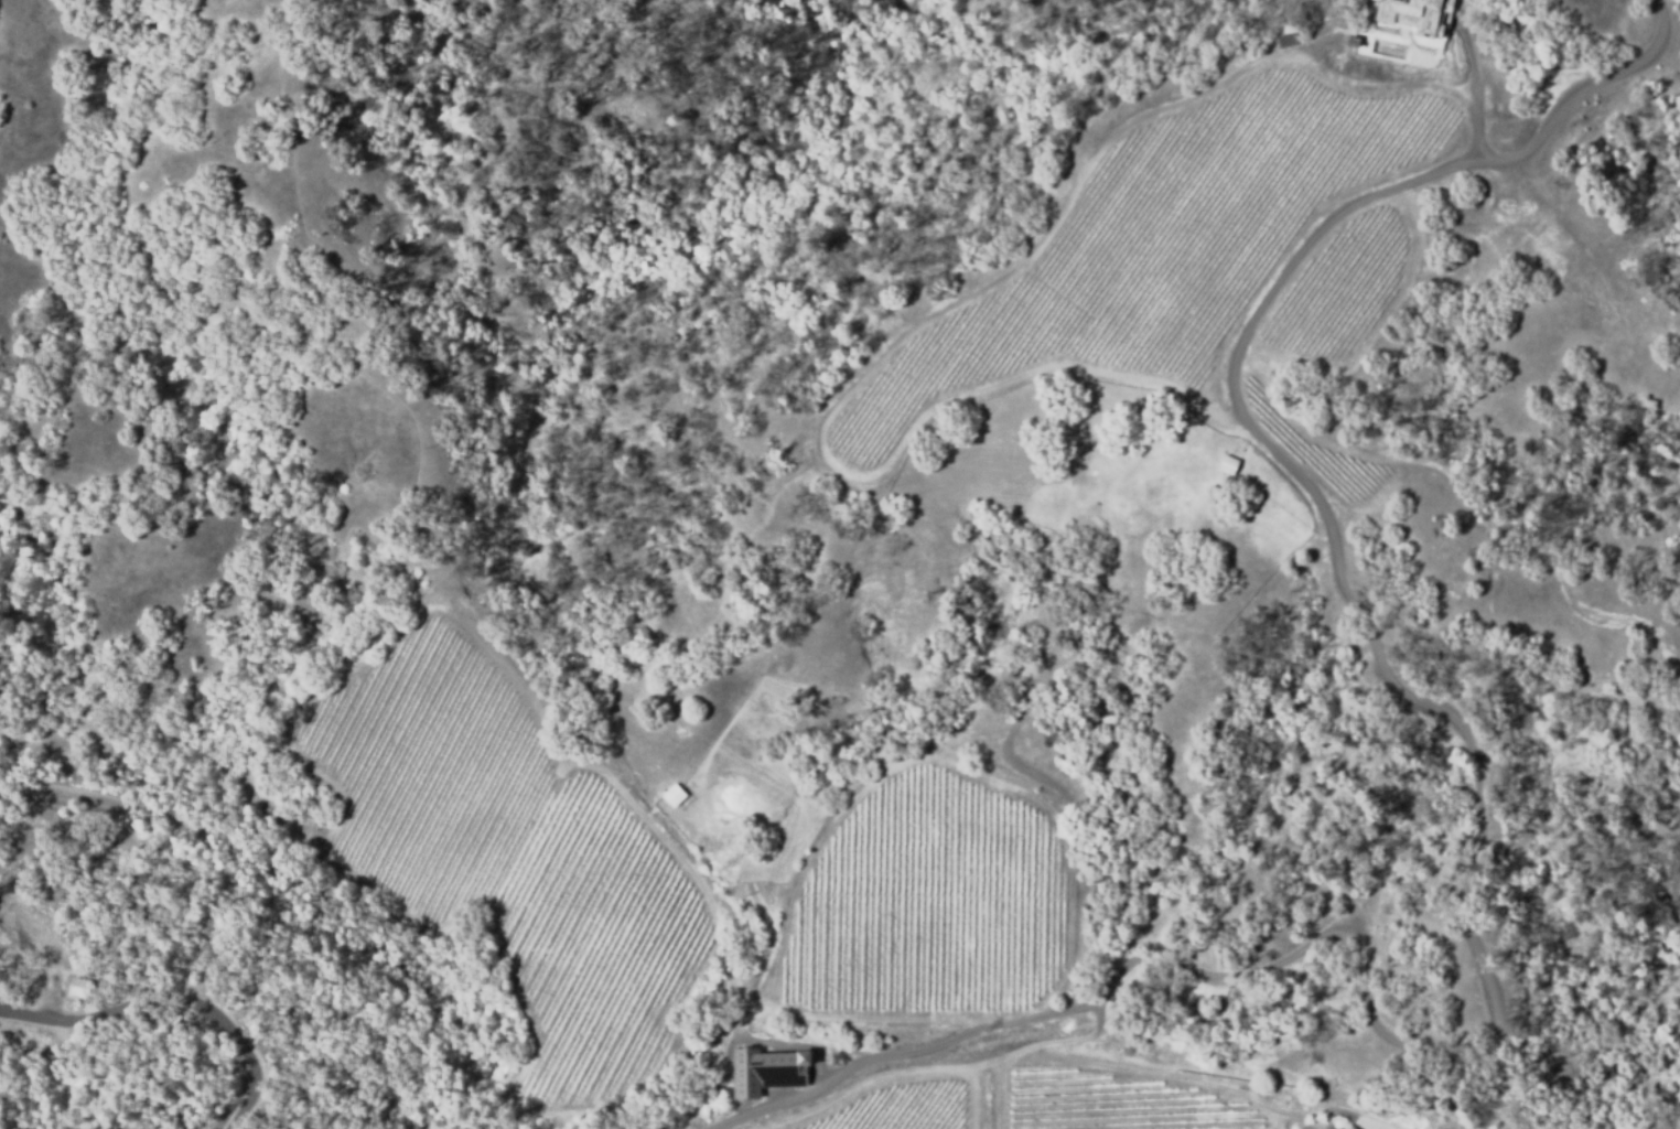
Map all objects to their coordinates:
road: (1678, 6)
building: (1410, 15)
road: (1478, 775)
road: (279, 868)
building: (79, 987)
road: (179, 992)
building: (761, 1069)
road: (778, 1104)
road: (431, 1106)
building: (1336, 1123)
building: (1354, 1126)
building: (1347, 1127)

